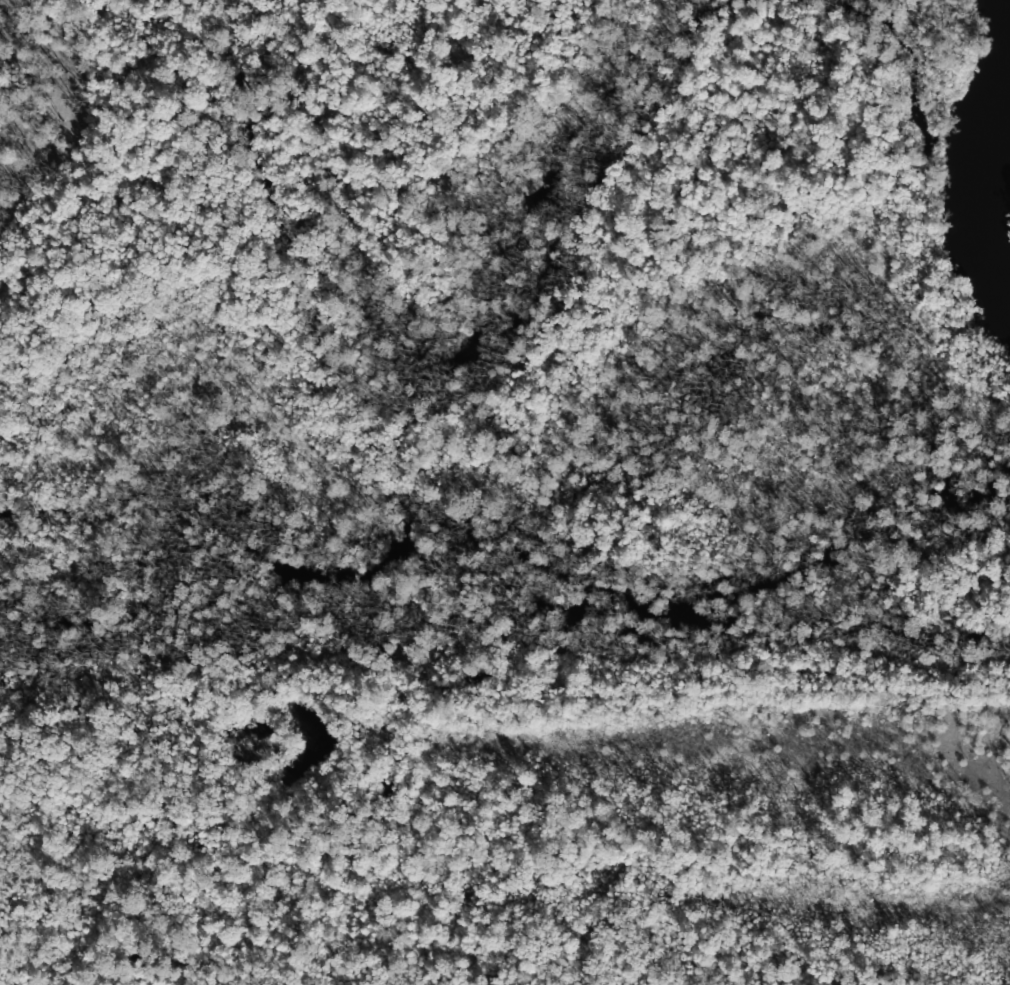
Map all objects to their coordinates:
river: (988, 197)

